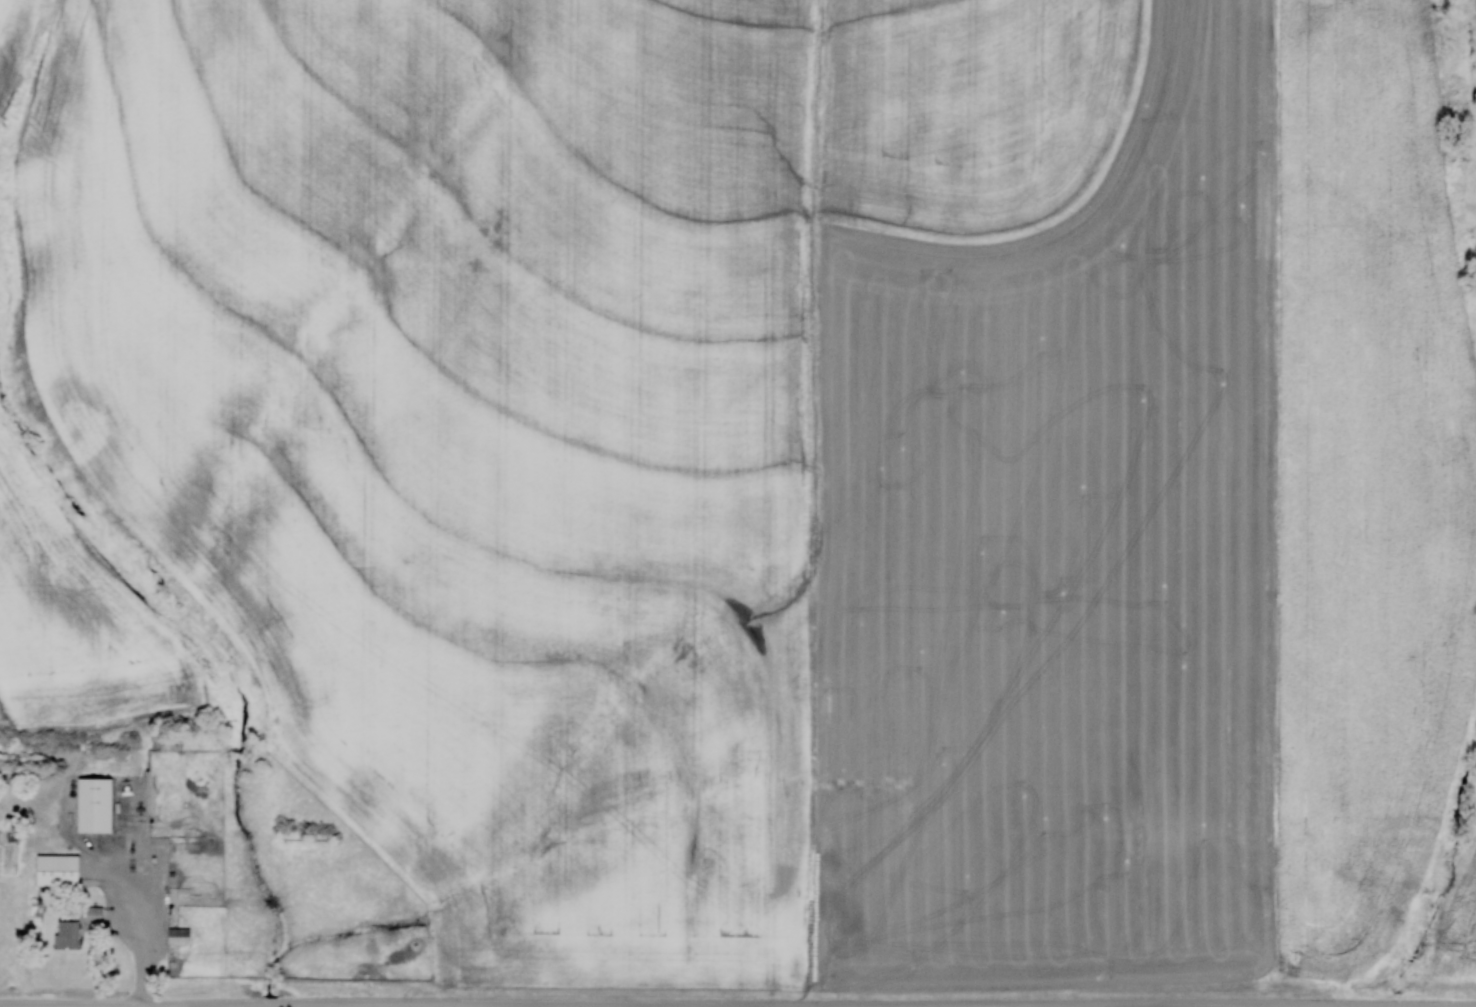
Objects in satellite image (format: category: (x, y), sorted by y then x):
building: (167, 743)
building: (90, 803)
building: (53, 869)
building: (92, 913)
road: (142, 929)
building: (64, 932)
building: (175, 934)

